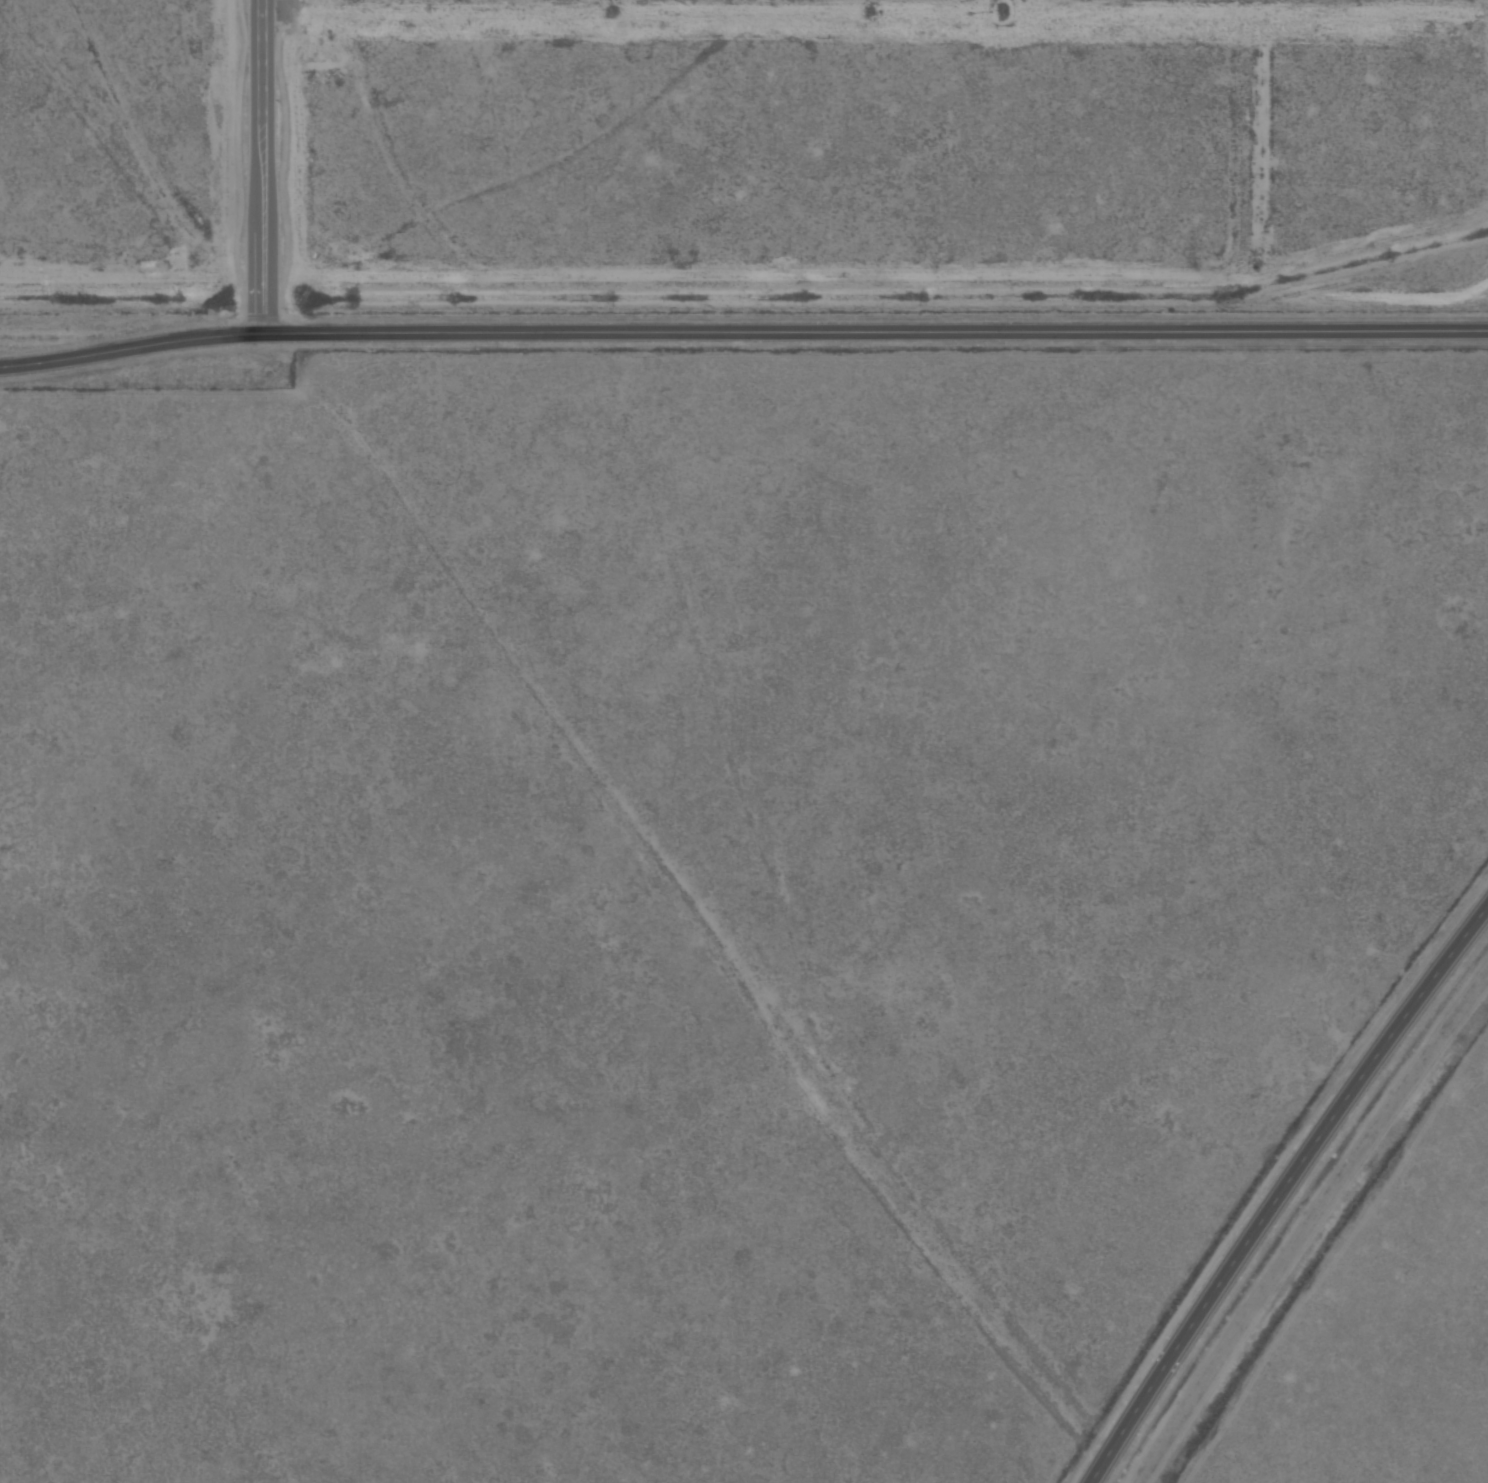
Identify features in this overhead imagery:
airport: (746, 151)
road: (259, 164)
road: (742, 325)
road: (1276, 1181)

